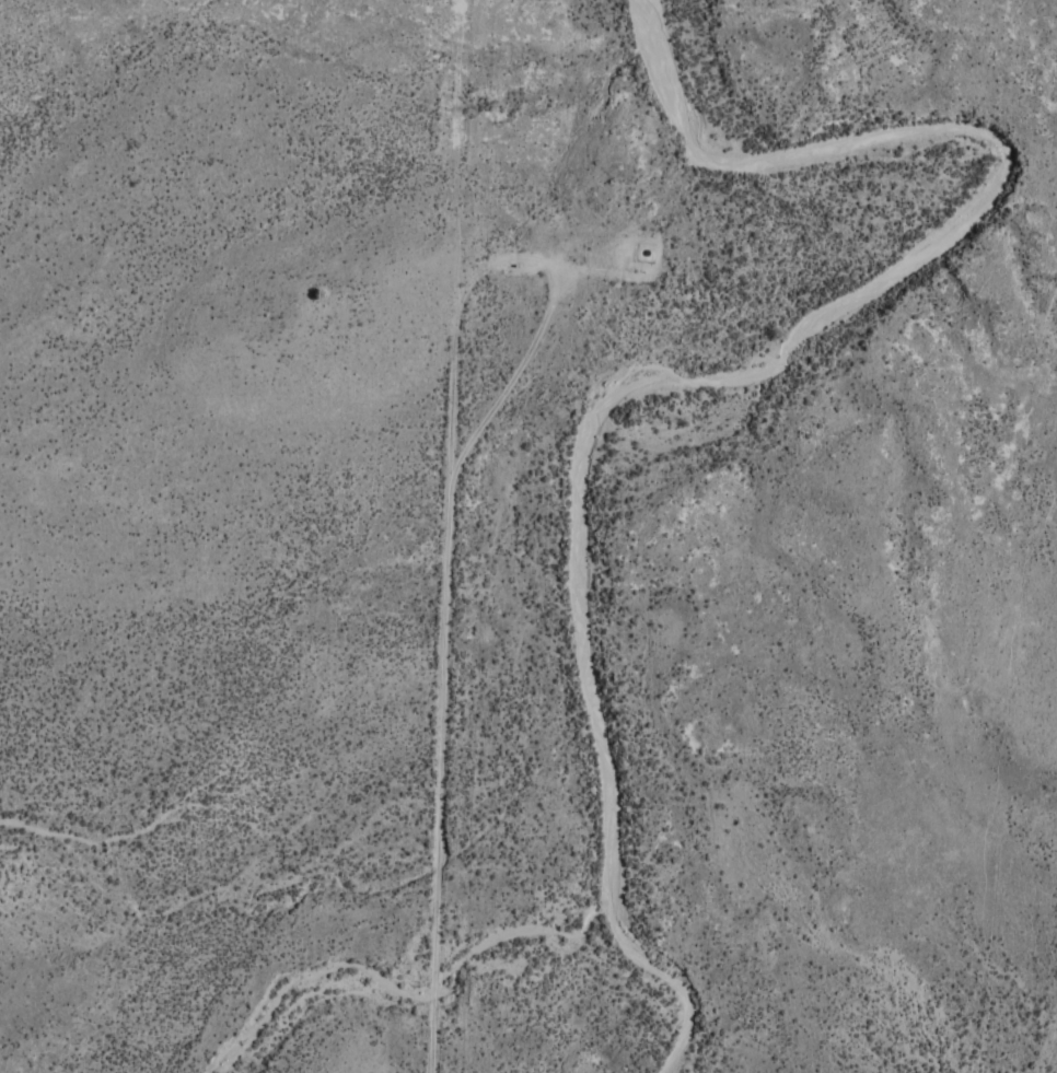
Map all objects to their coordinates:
river: (684, 430)
road: (422, 536)

